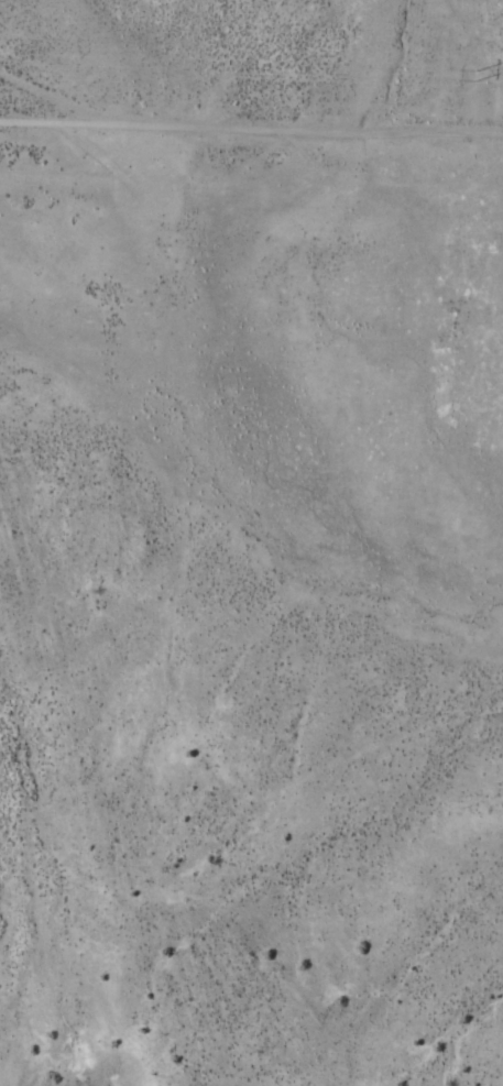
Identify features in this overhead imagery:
power tower: (471, 78)
road: (211, 525)

